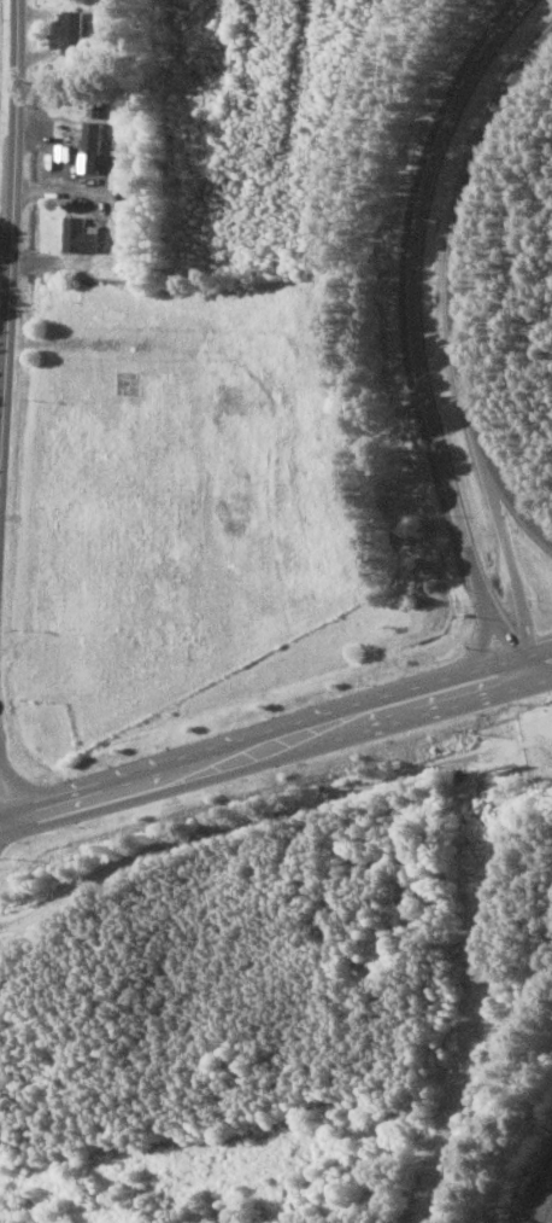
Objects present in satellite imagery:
building: (74, 31)
building: (89, 130)
building: (121, 181)
building: (80, 237)
road: (12, 245)
road: (457, 286)
road: (422, 330)
road: (505, 513)
road: (540, 664)
road: (419, 699)
road: (155, 778)
road: (239, 826)
road: (551, 1222)

